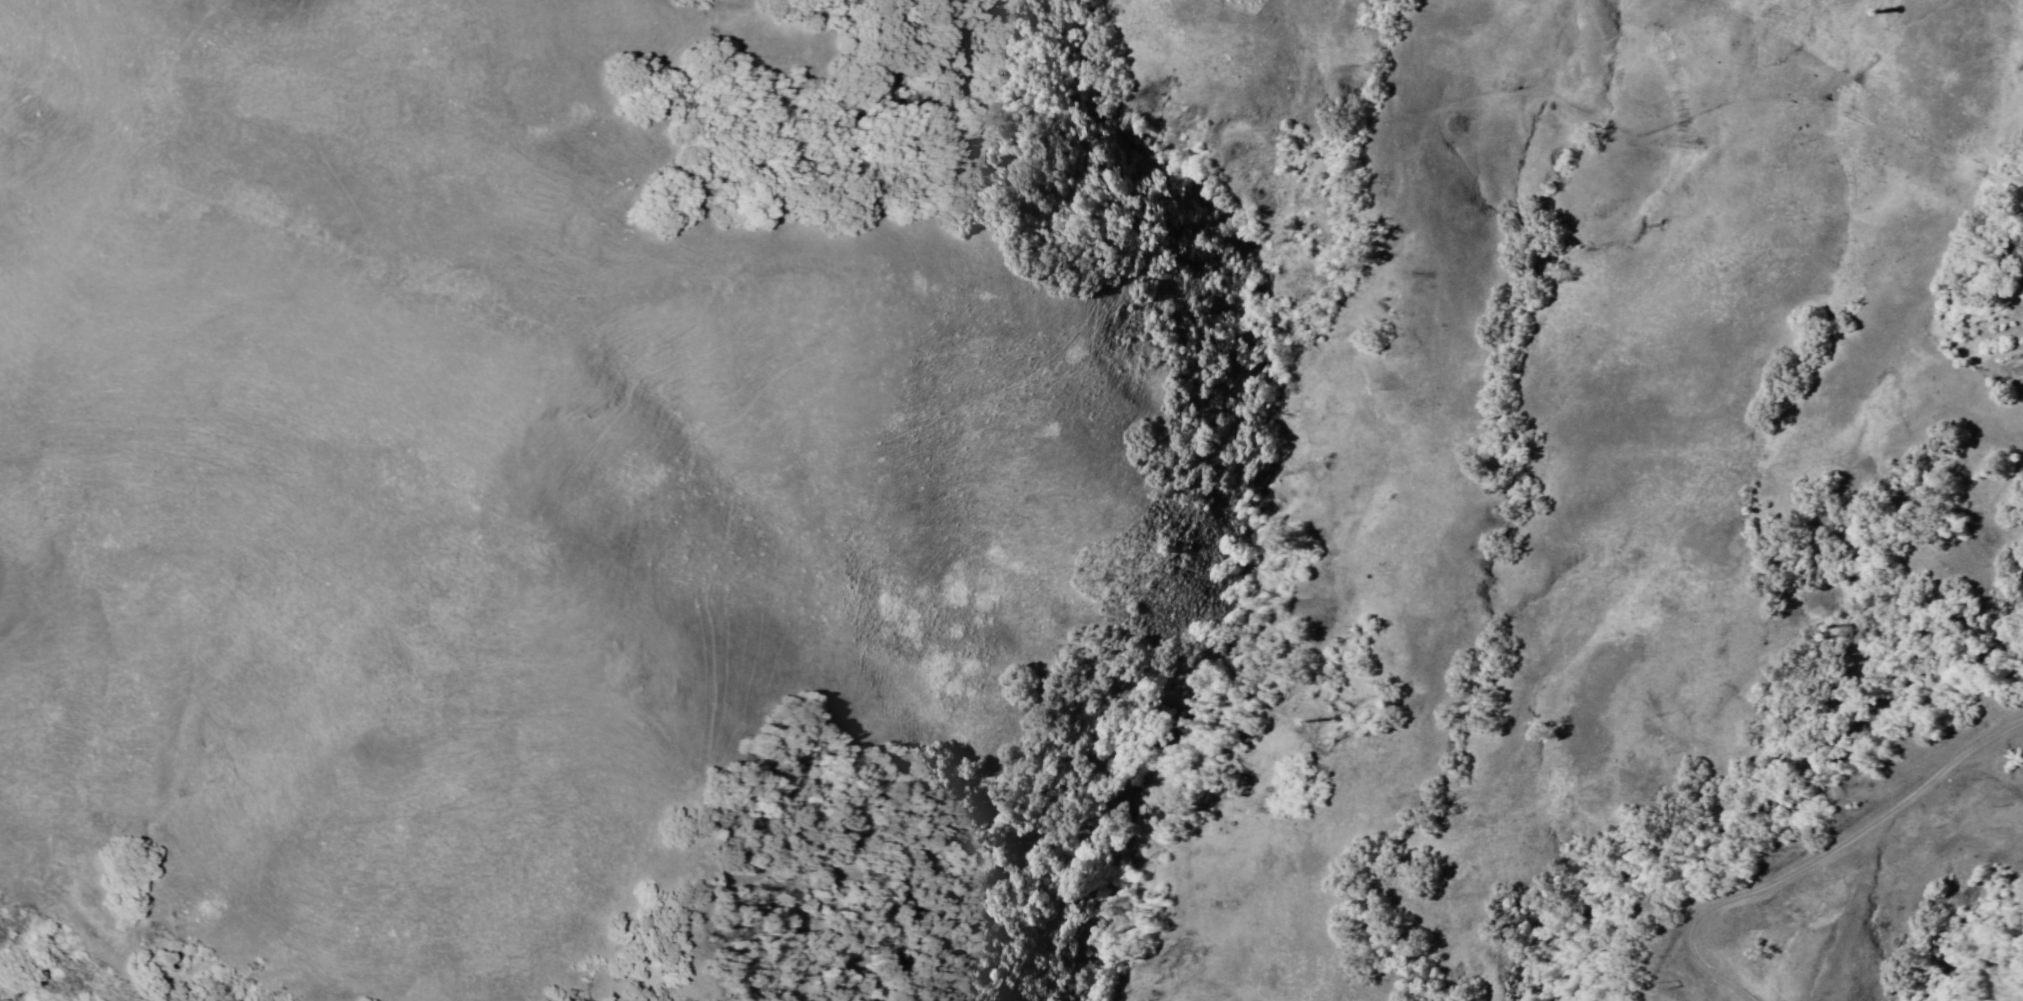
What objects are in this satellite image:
road: (1807, 851)

